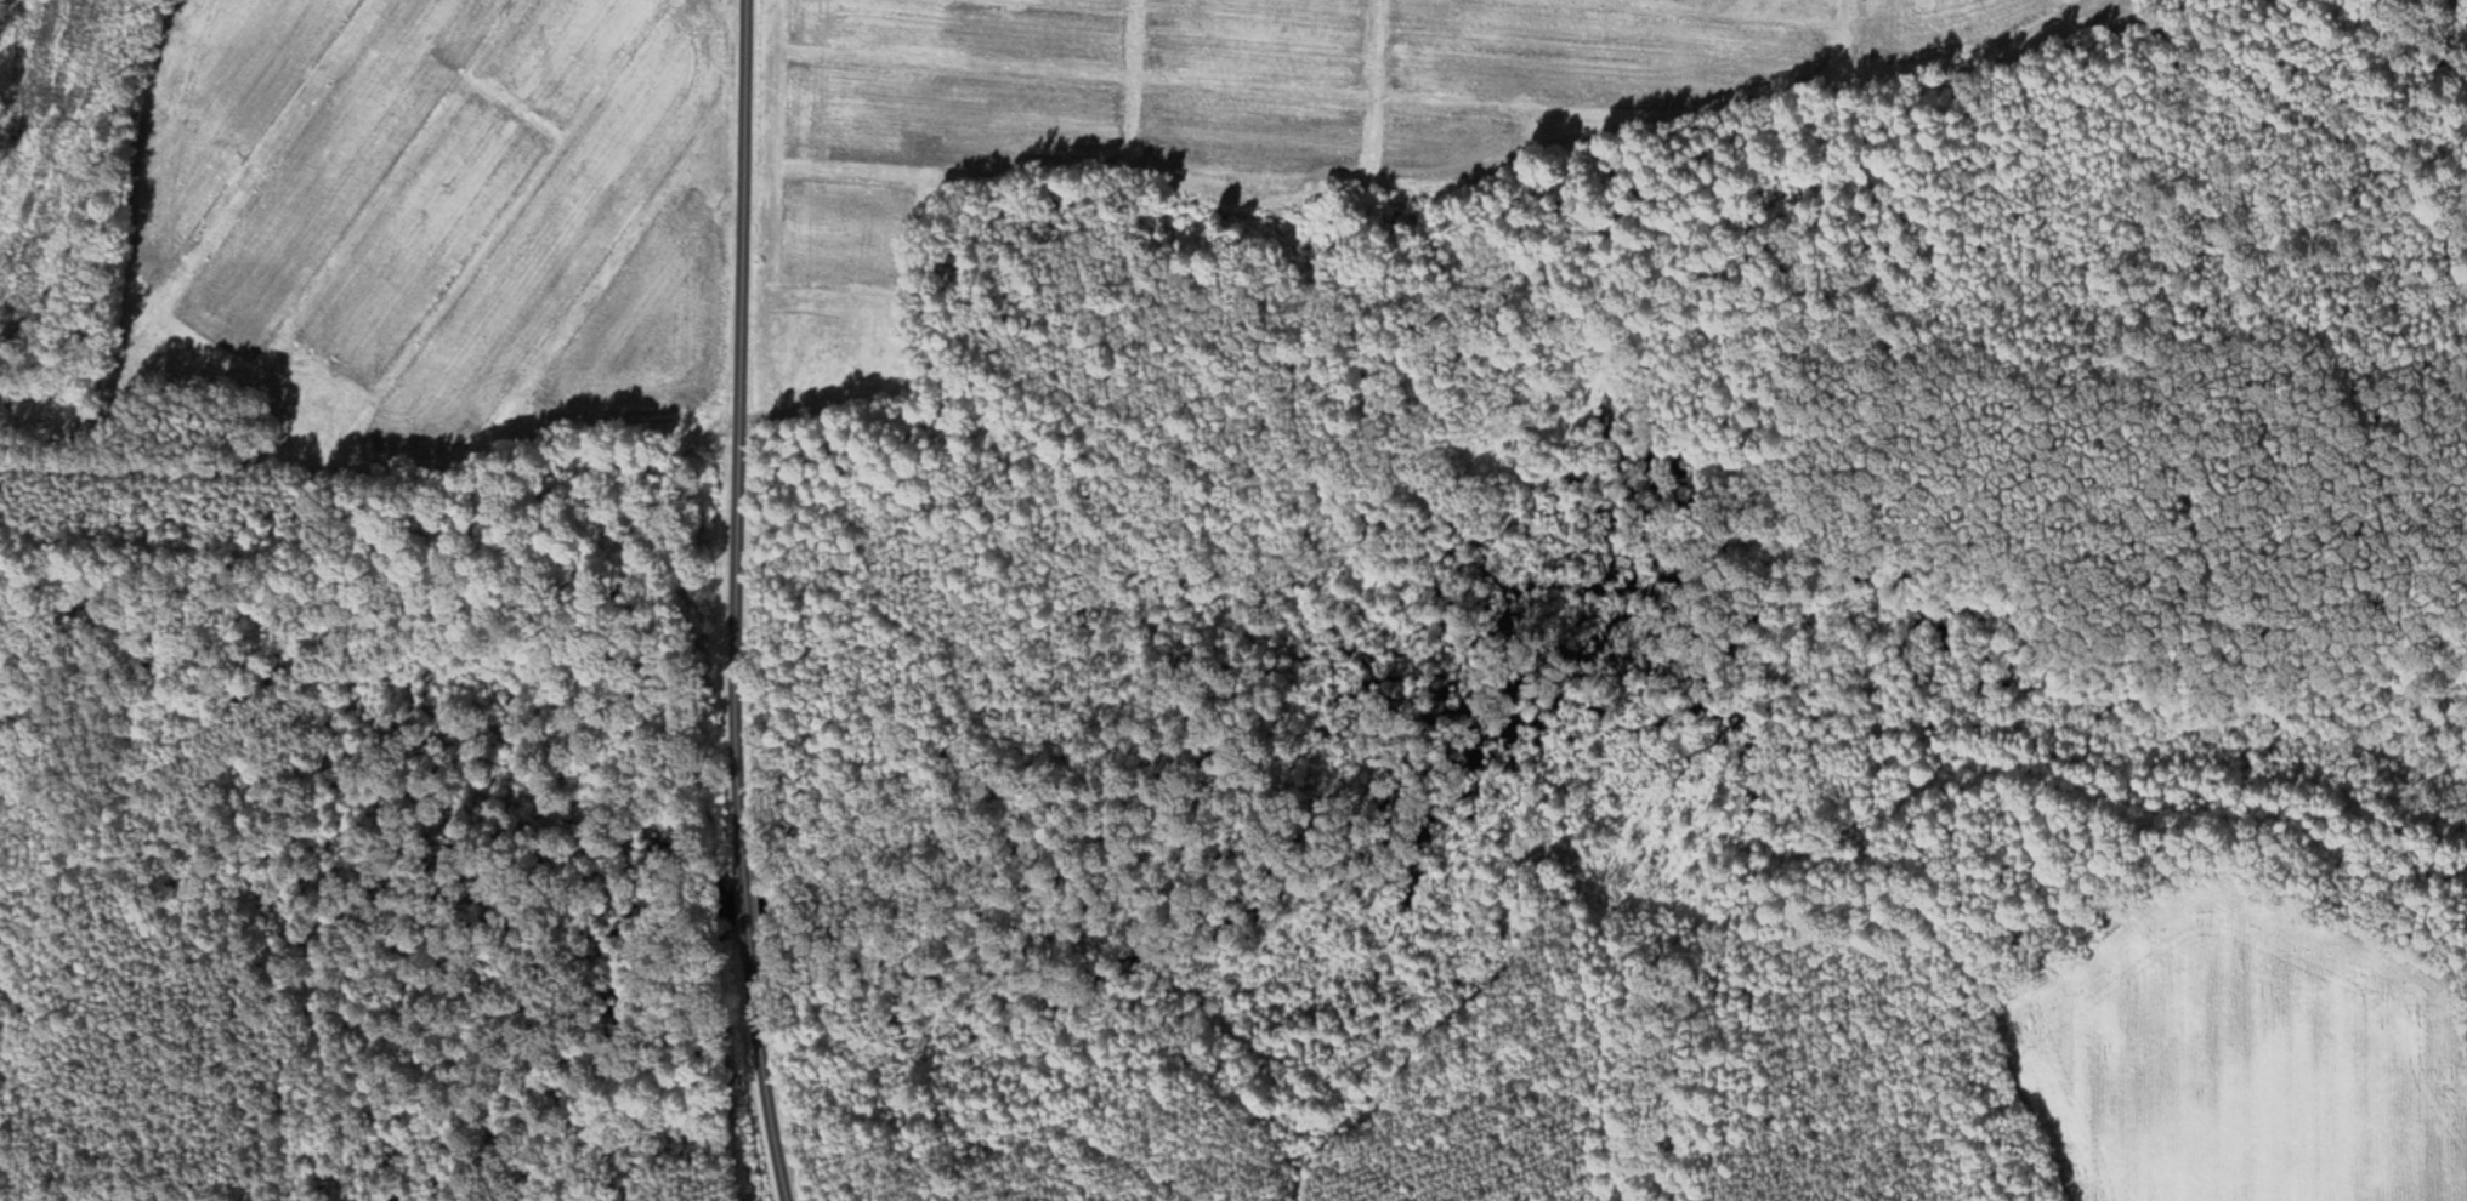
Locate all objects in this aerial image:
road: (739, 432)
road: (748, 904)
road: (764, 1072)

